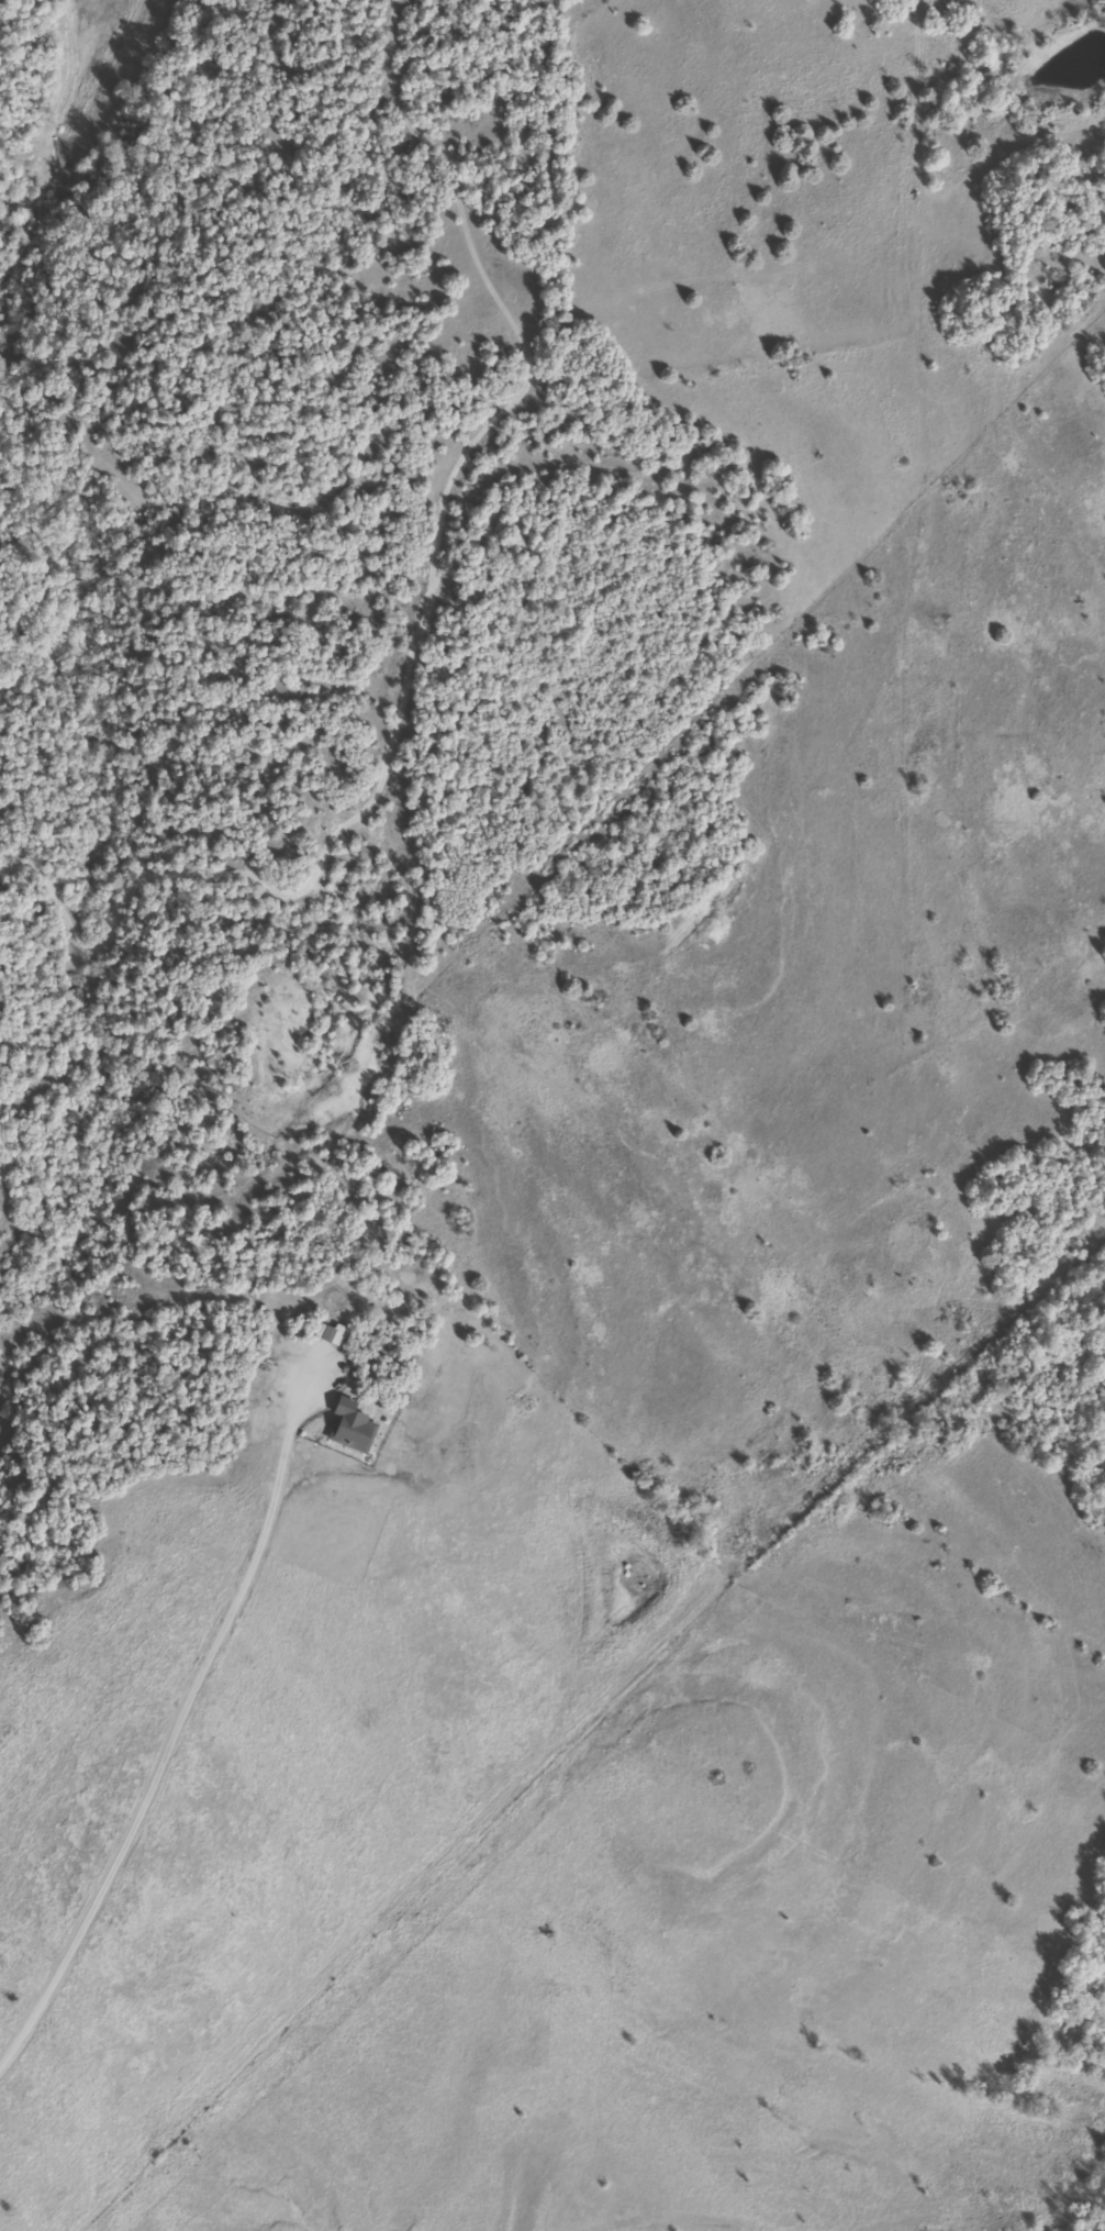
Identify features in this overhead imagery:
road: (872, 1030)
building: (325, 1336)
building: (348, 1428)
road: (252, 1560)
road: (109, 1877)
road: (592, 2215)

